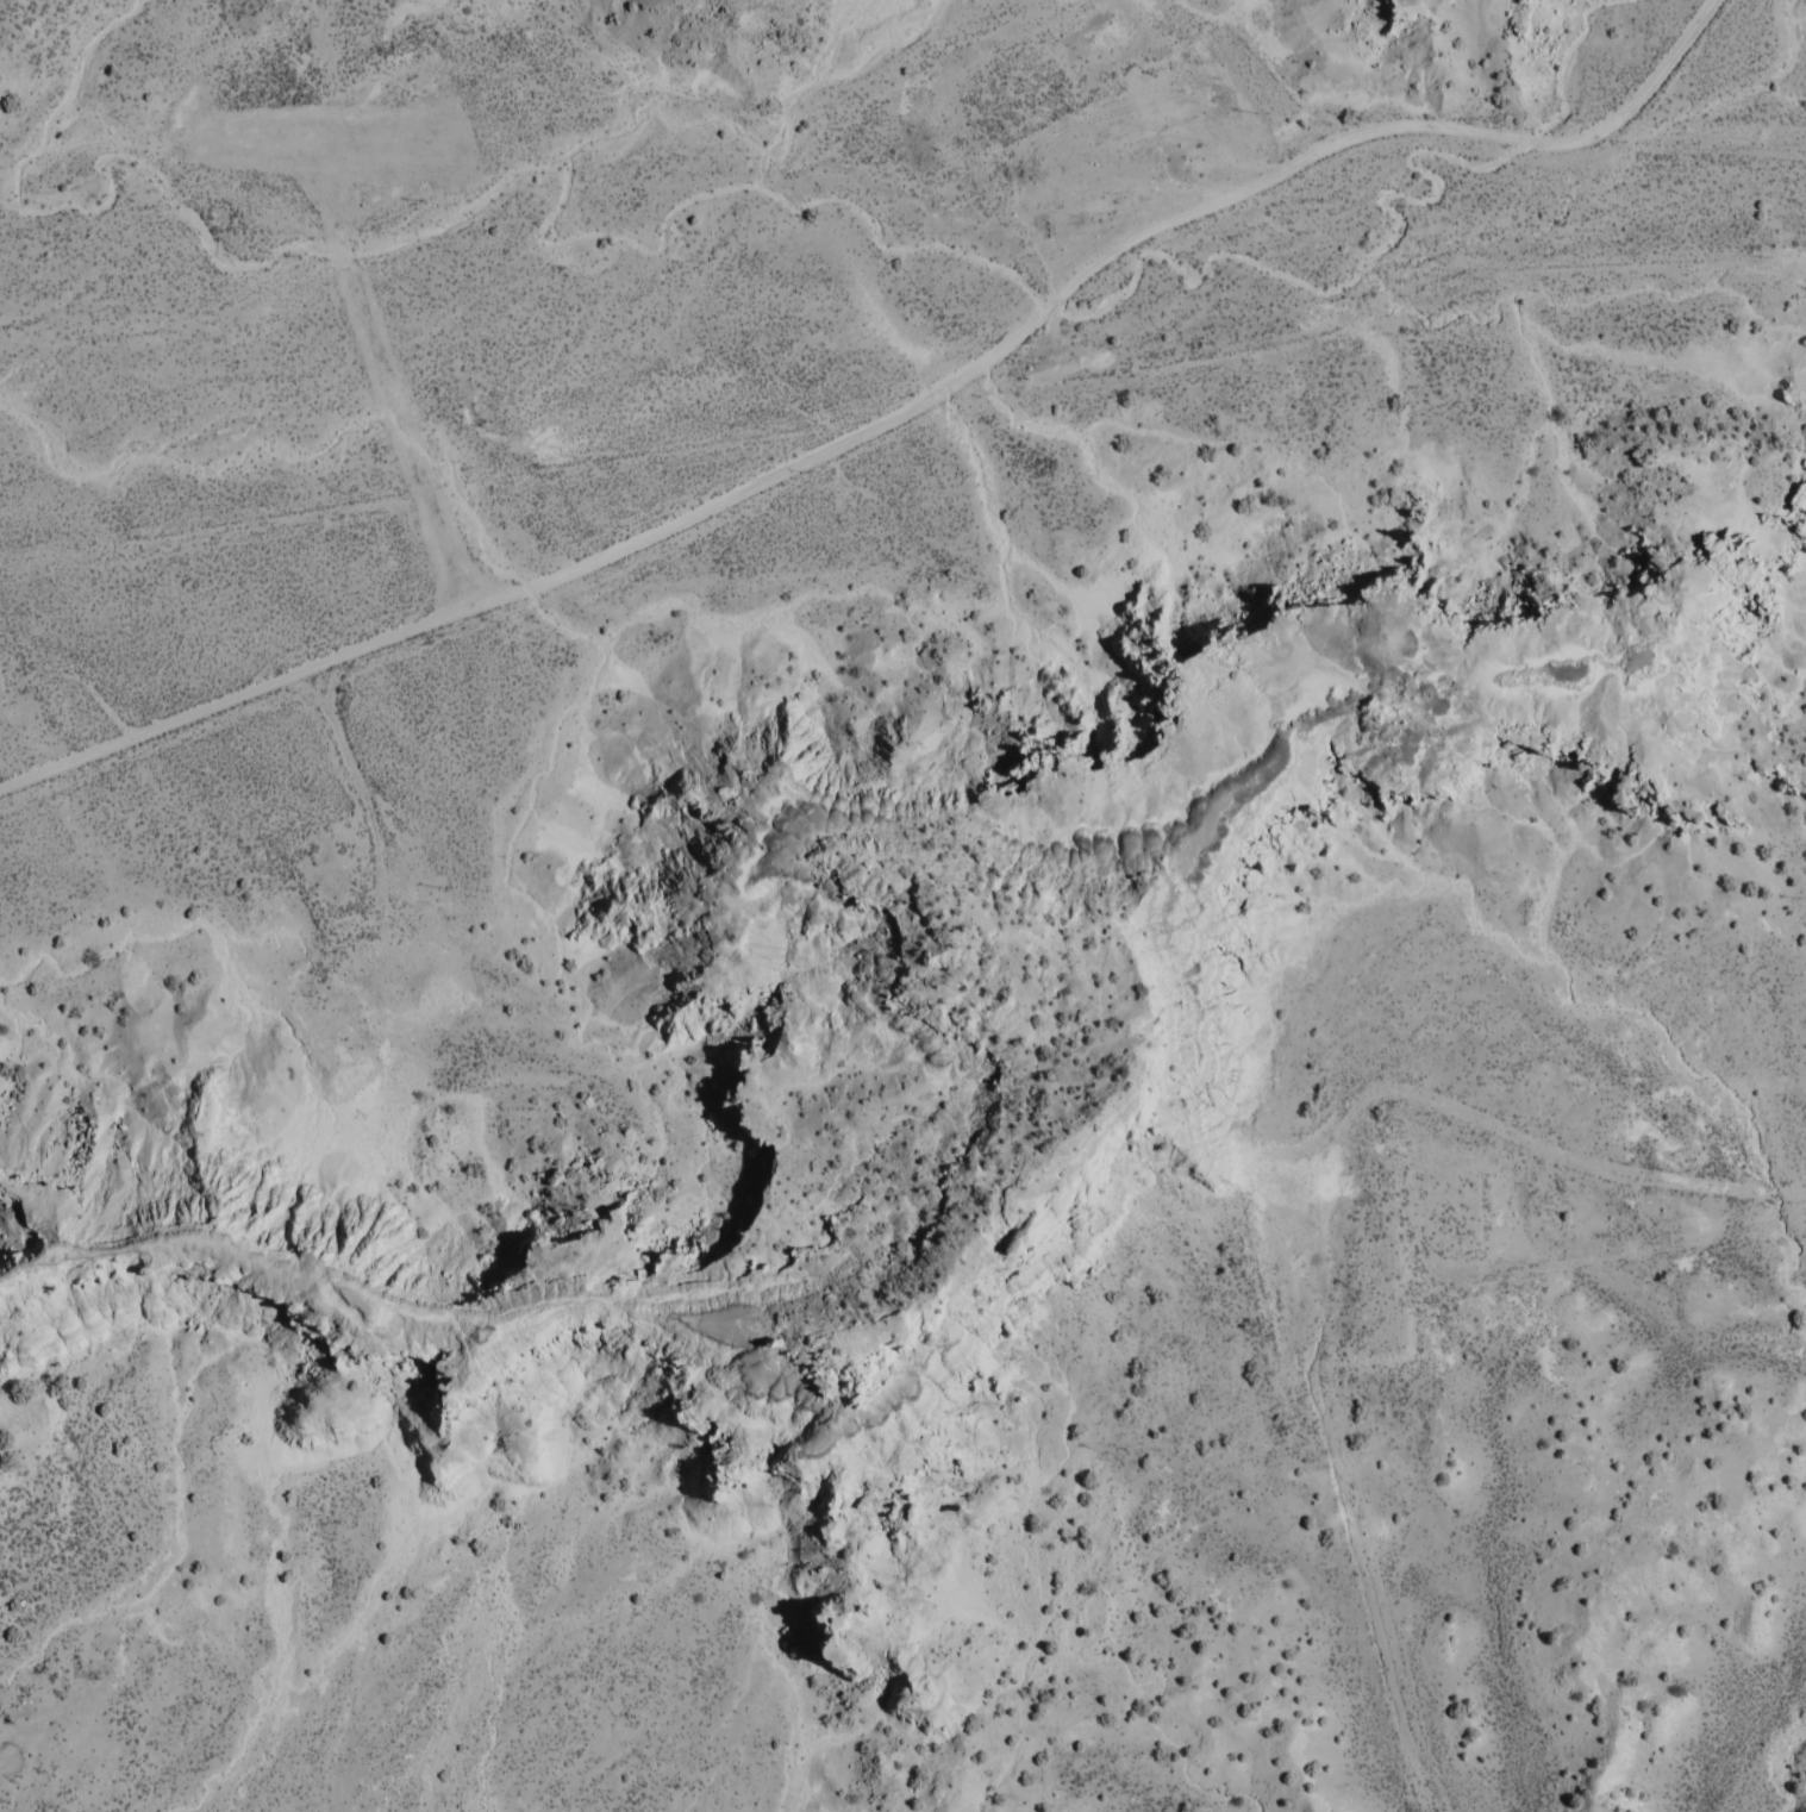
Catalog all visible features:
road: (875, 411)

